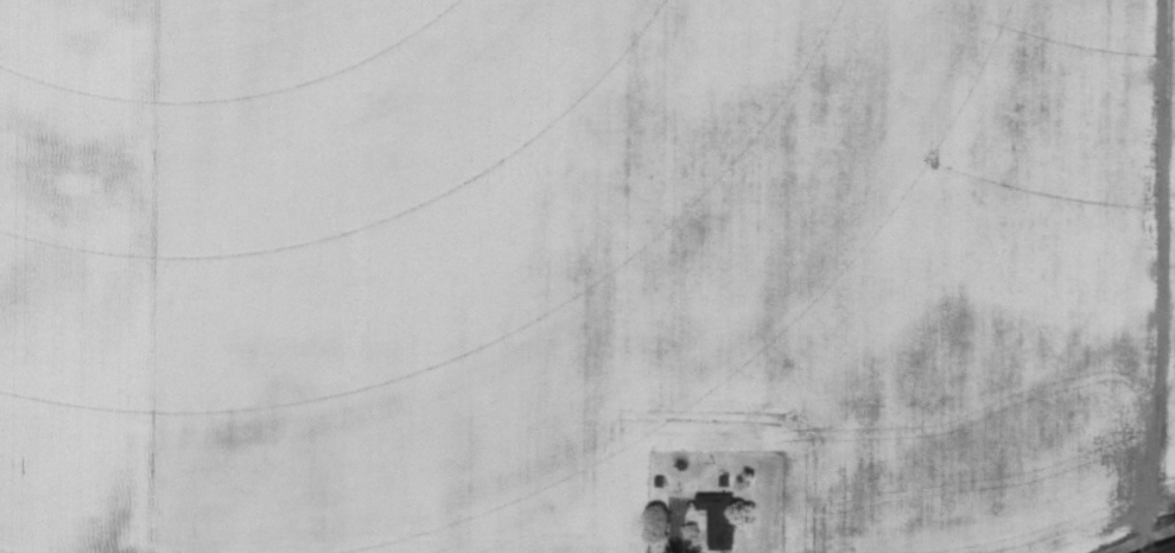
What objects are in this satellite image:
road: (674, 509)

